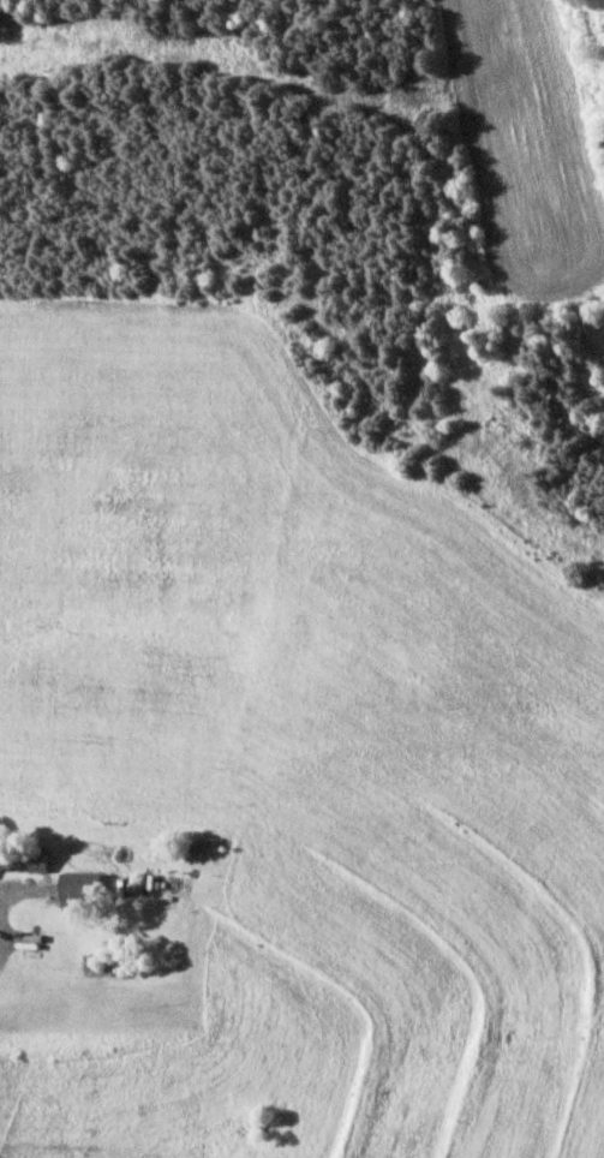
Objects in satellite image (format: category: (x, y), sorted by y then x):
building: (24, 859)
building: (82, 891)

